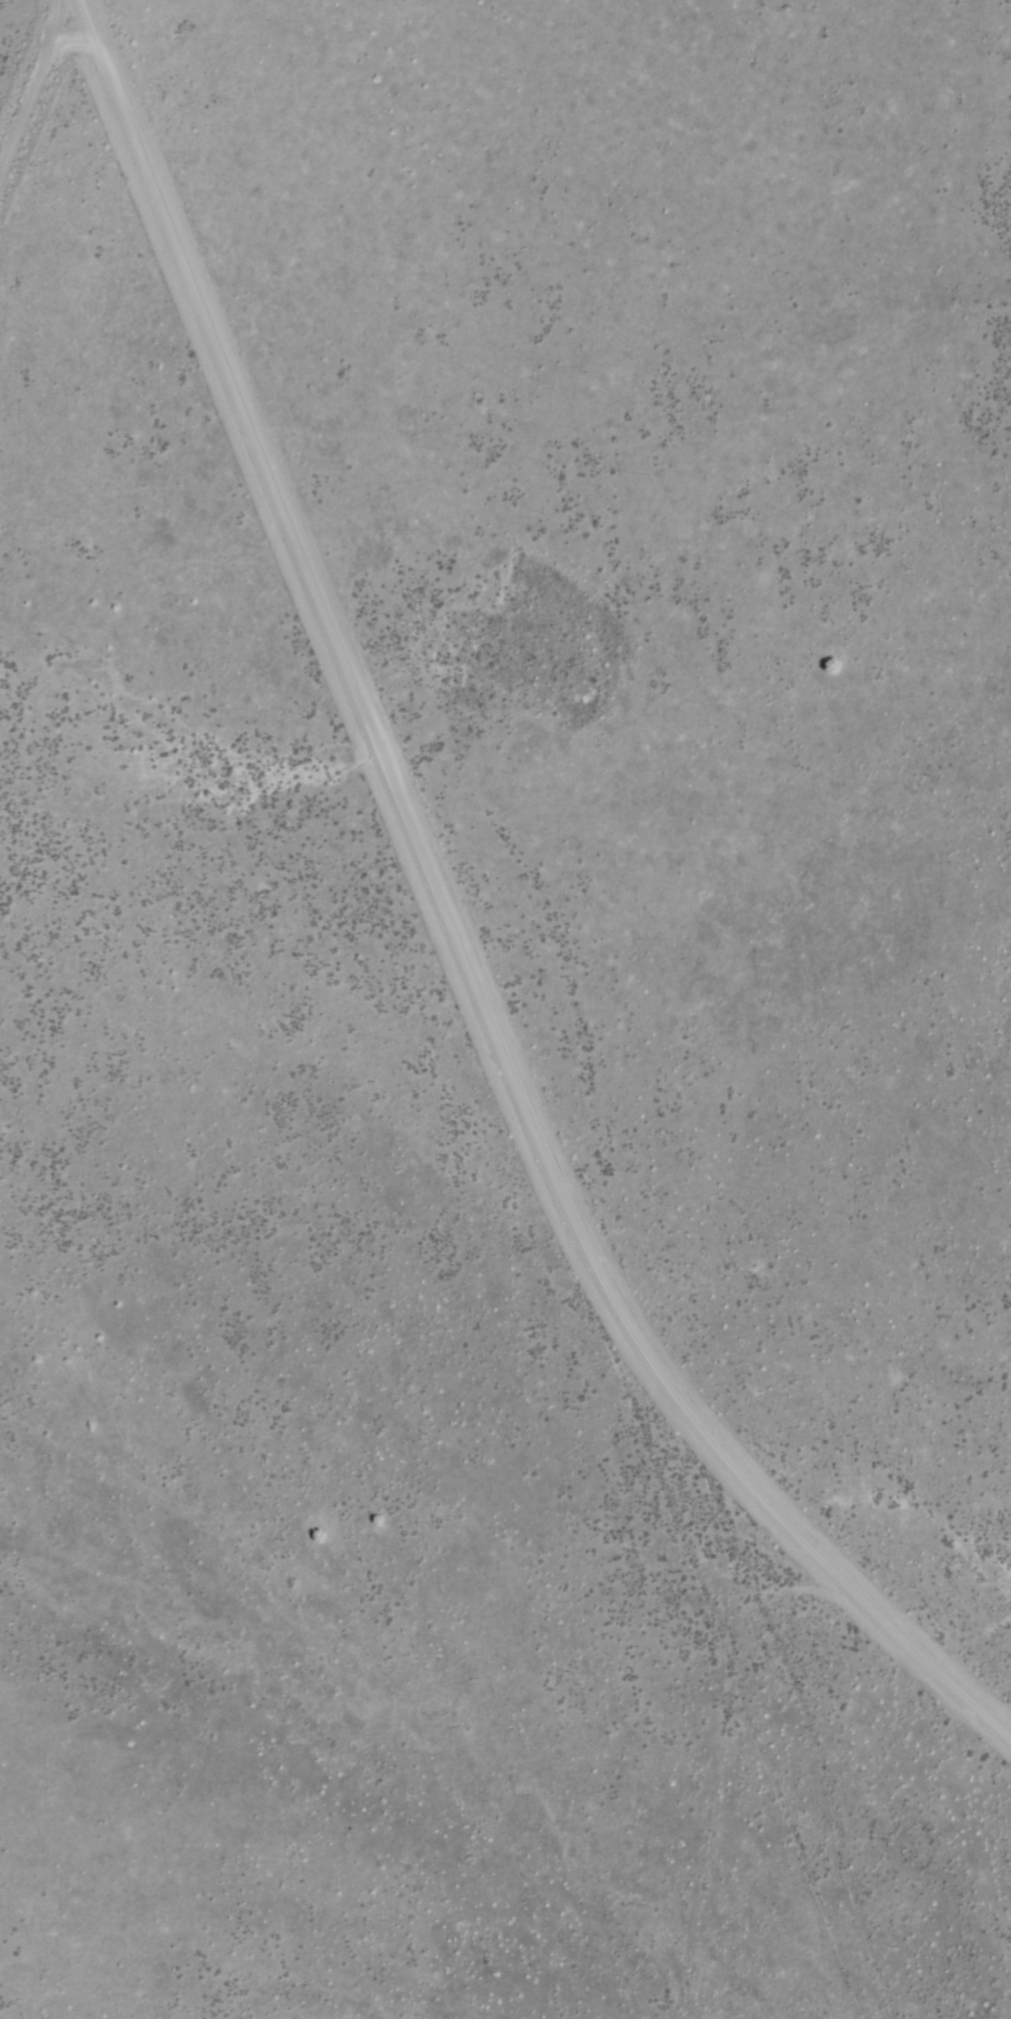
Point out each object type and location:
road: (33, 81)
road: (450, 932)

